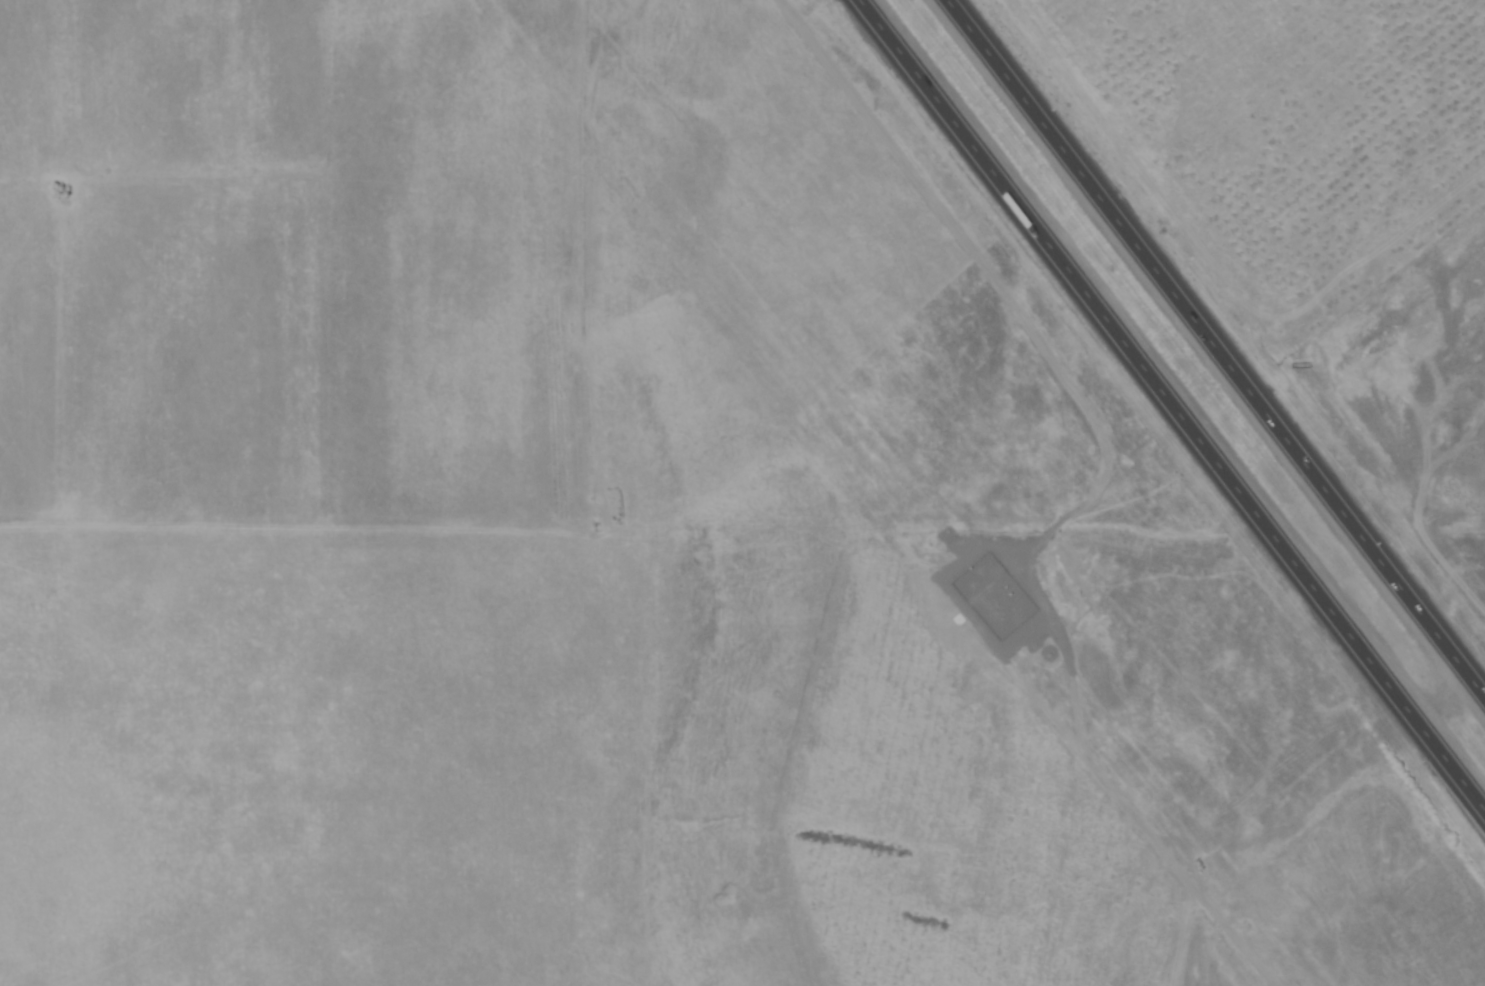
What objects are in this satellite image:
crop: (1273, 129)
crop: (272, 257)
road: (1215, 350)
road: (1172, 407)
road: (1437, 698)
crop: (937, 787)

